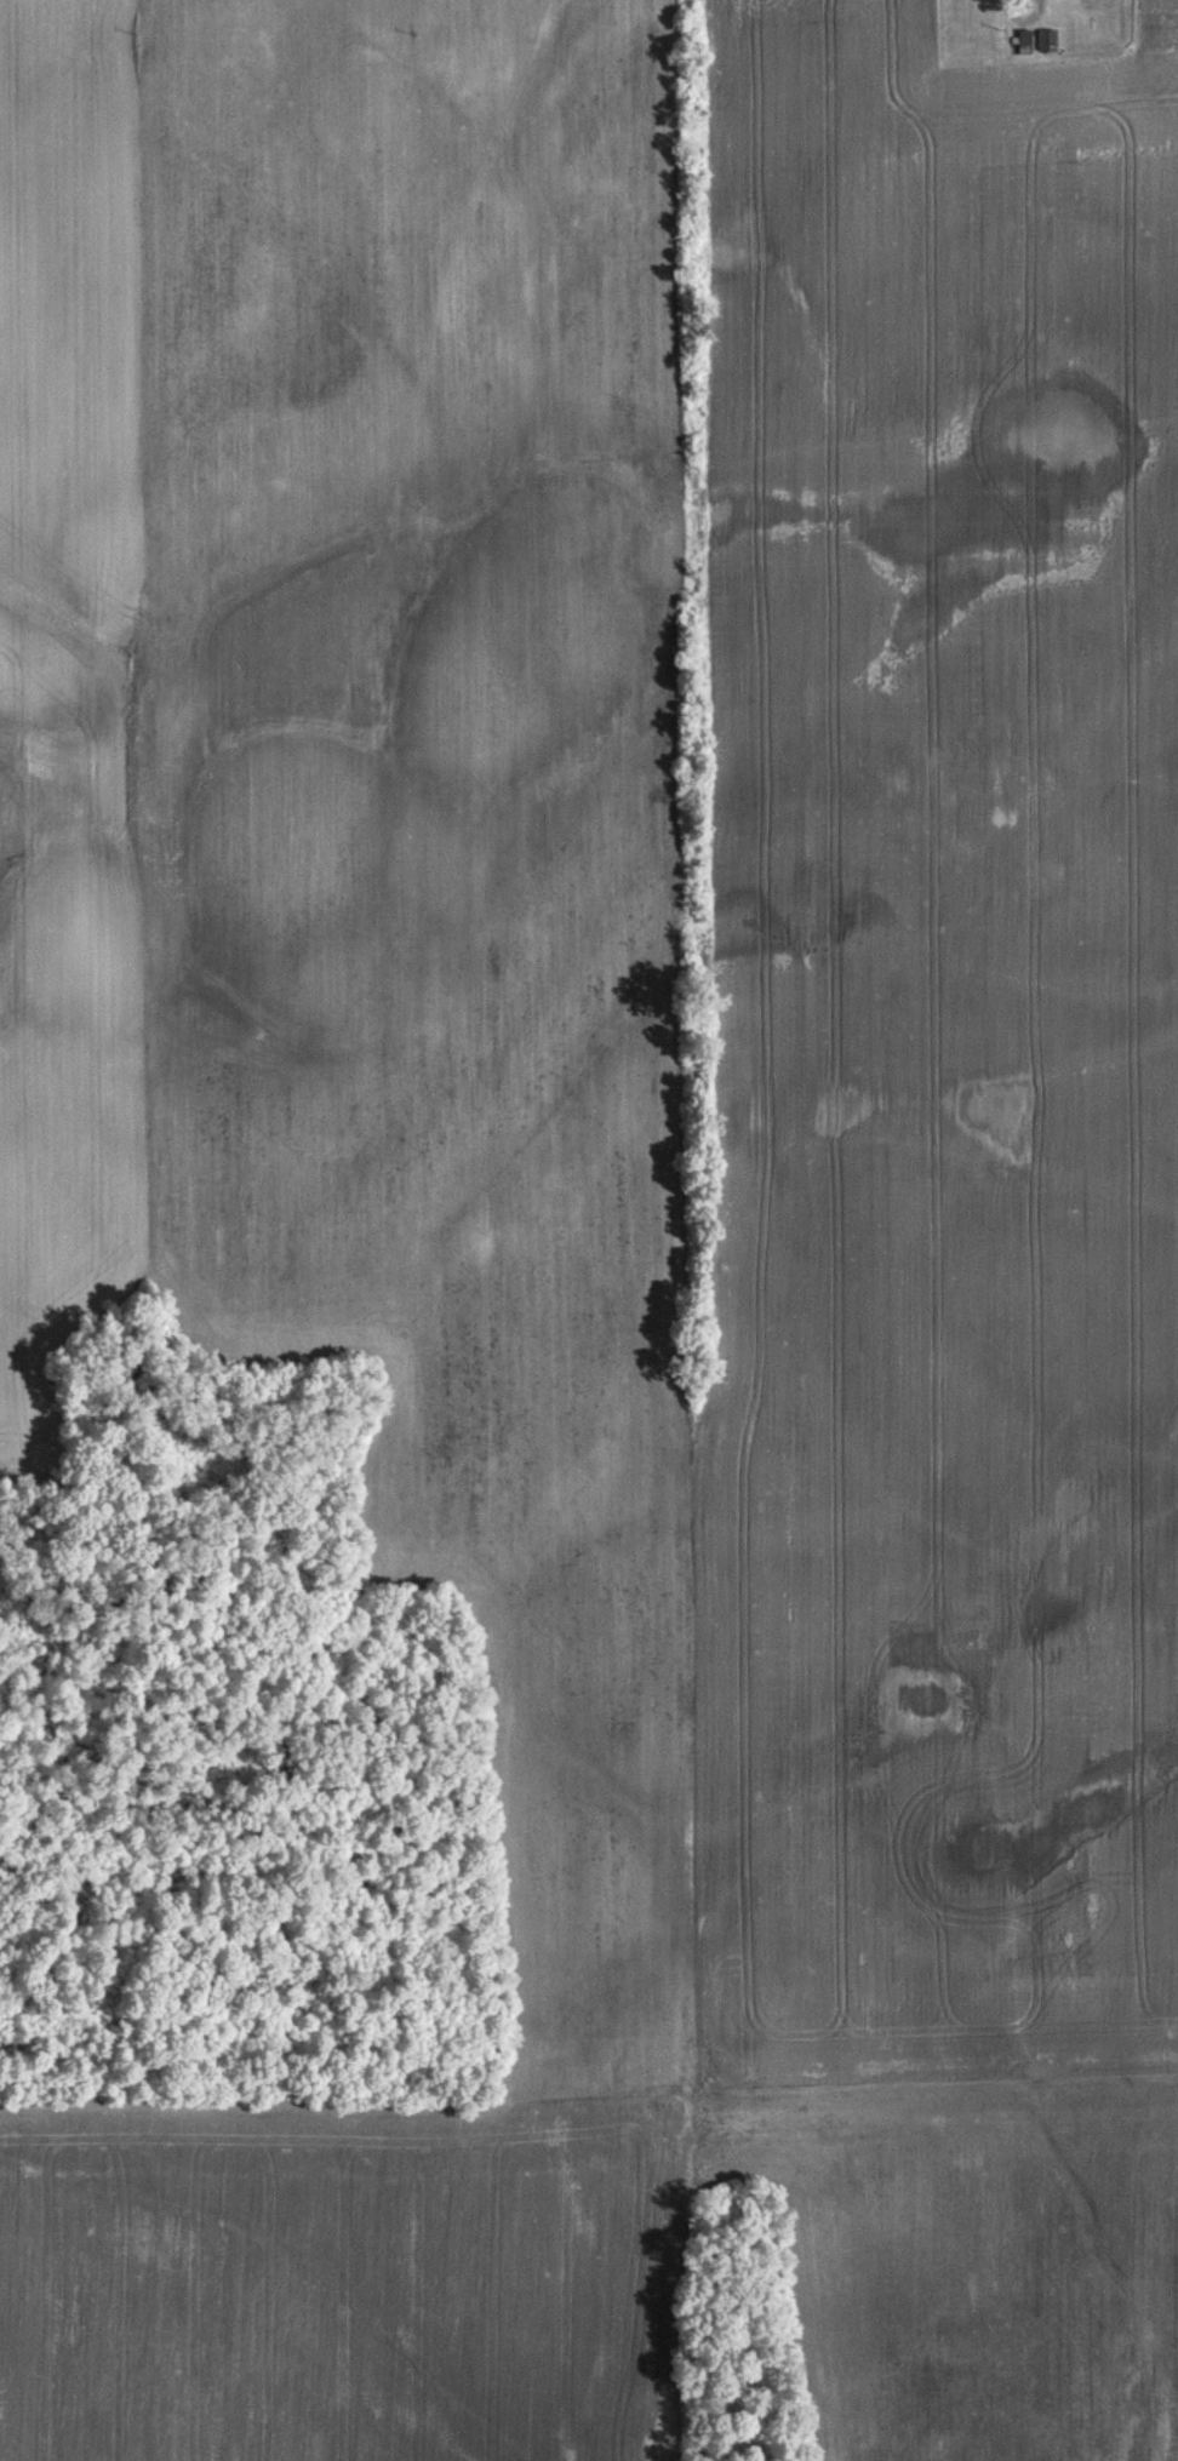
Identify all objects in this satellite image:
building: (1022, 35)
building: (1046, 35)

